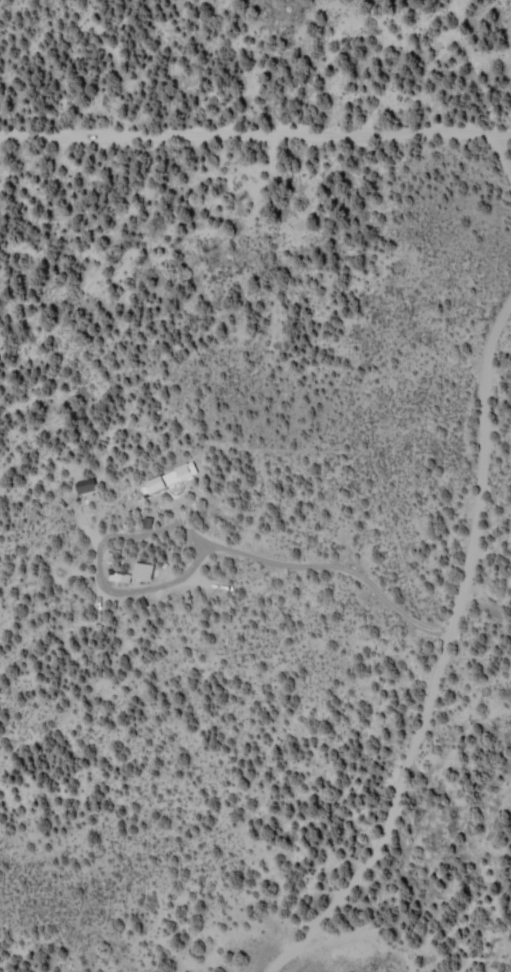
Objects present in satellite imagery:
road: (233, 339)
building: (176, 476)
building: (90, 484)
building: (147, 569)
building: (122, 575)

